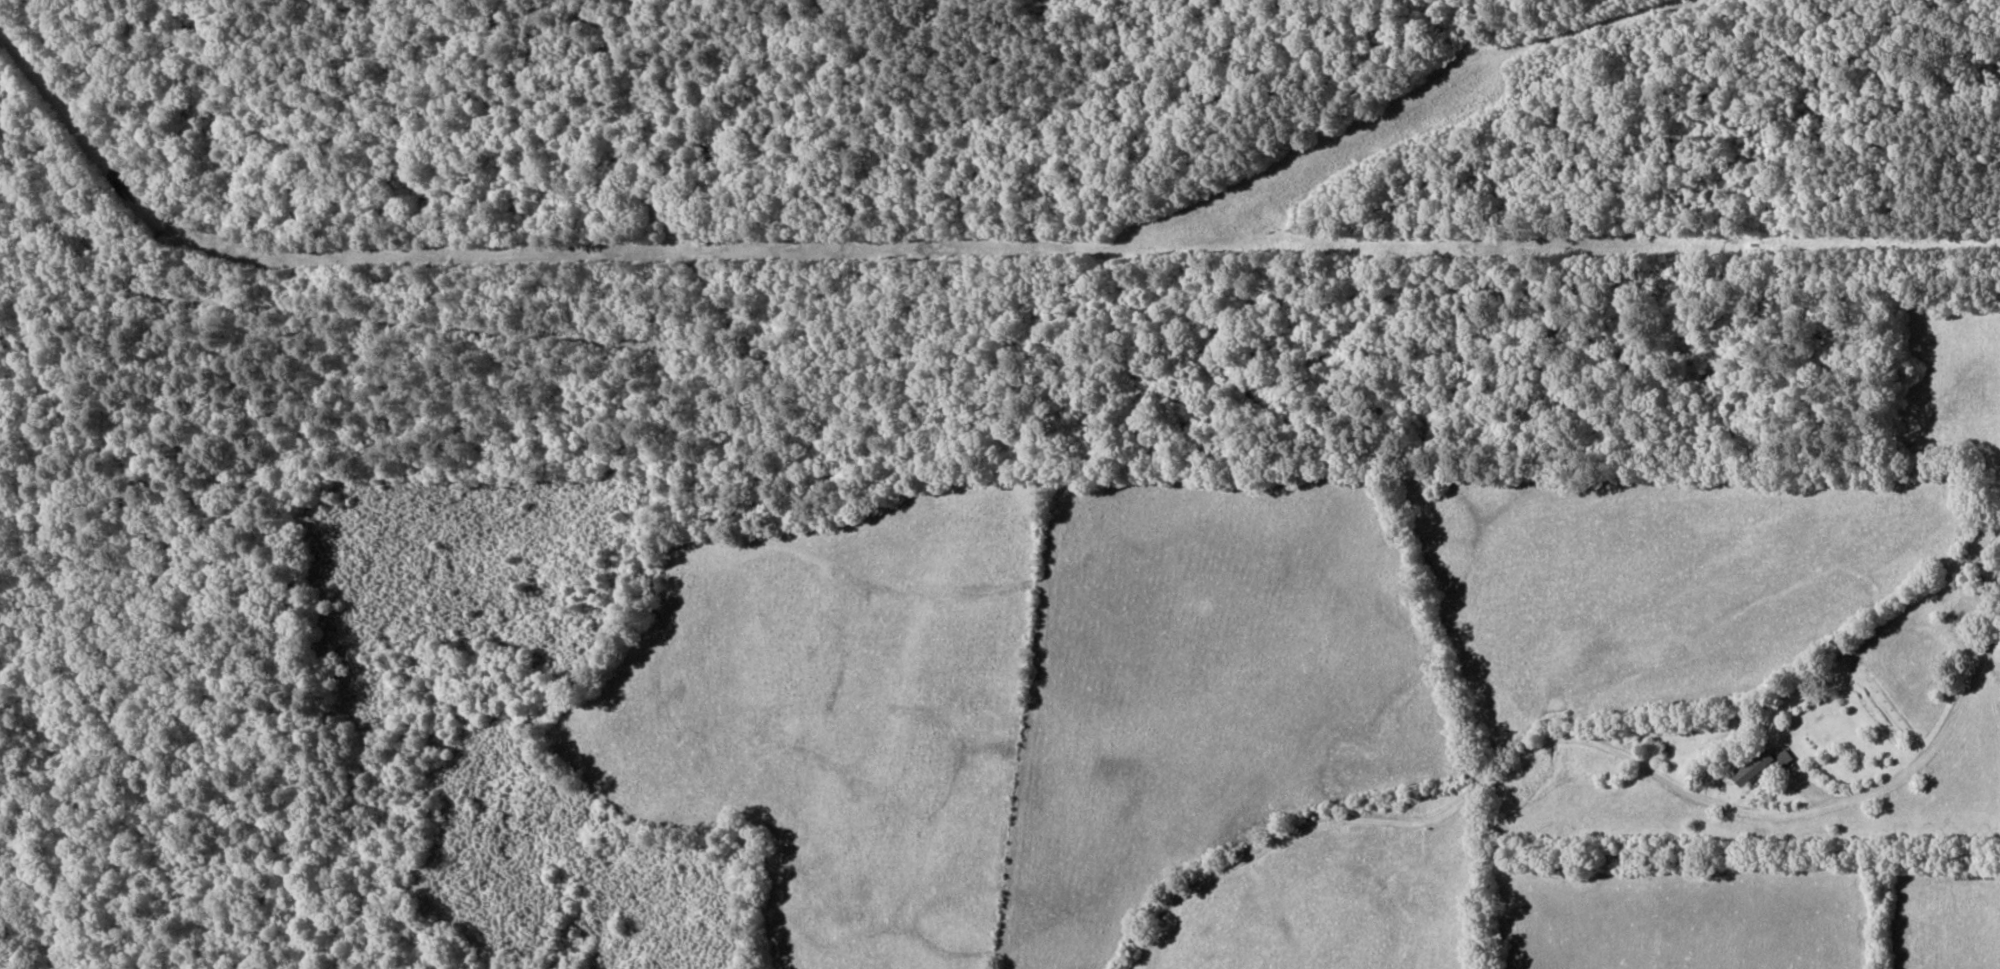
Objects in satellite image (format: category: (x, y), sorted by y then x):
building: (1756, 765)
road: (1590, 774)

